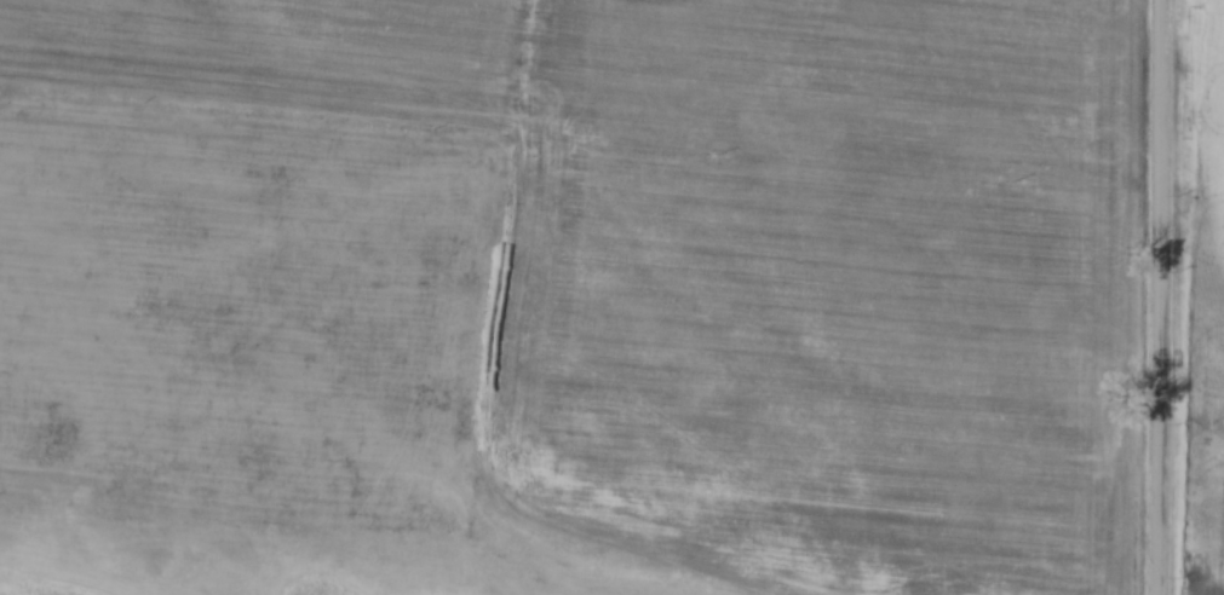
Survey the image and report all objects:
road: (1160, 296)

